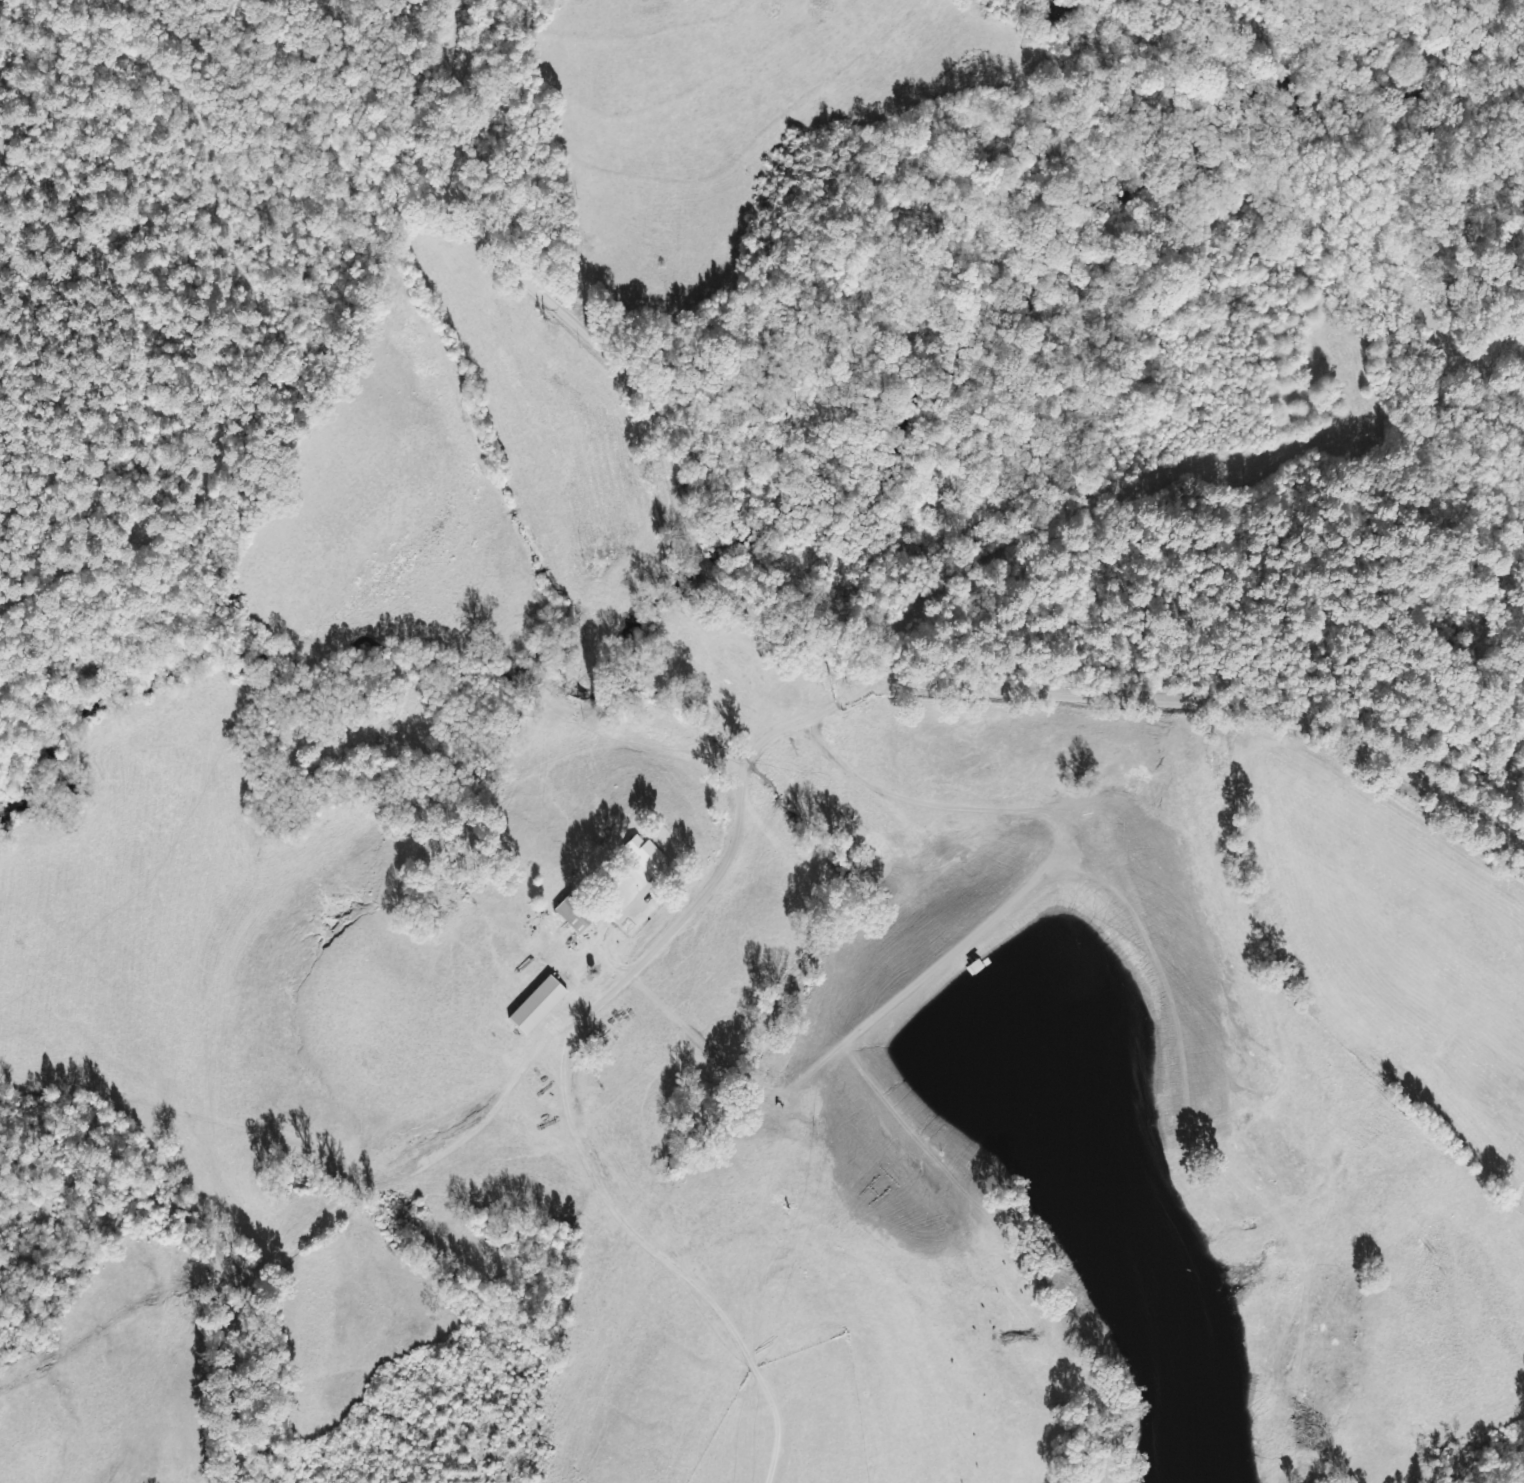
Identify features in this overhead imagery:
road: (474, 31)
road: (786, 653)
building: (645, 861)
building: (572, 914)
building: (535, 1006)
road: (490, 1083)

